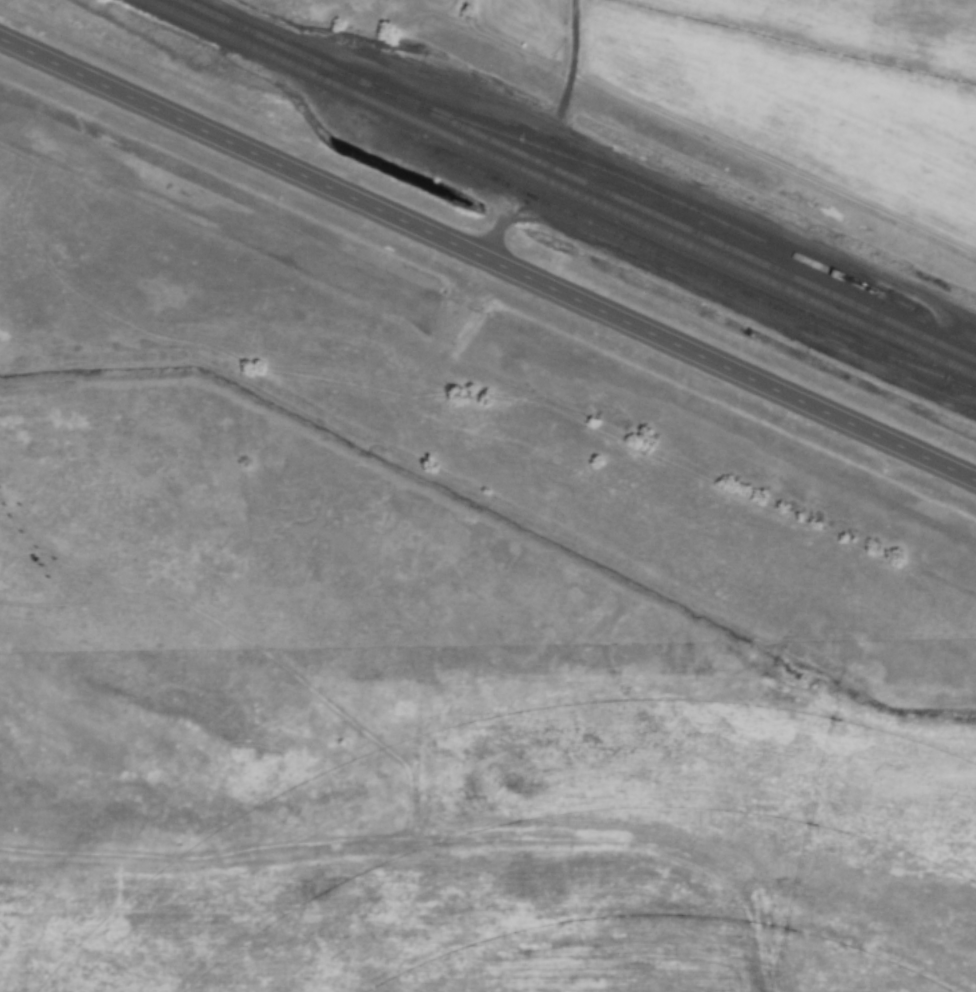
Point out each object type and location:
railway: (581, 179)
railway: (565, 185)
railway: (679, 202)
road: (487, 258)
railway: (712, 276)

